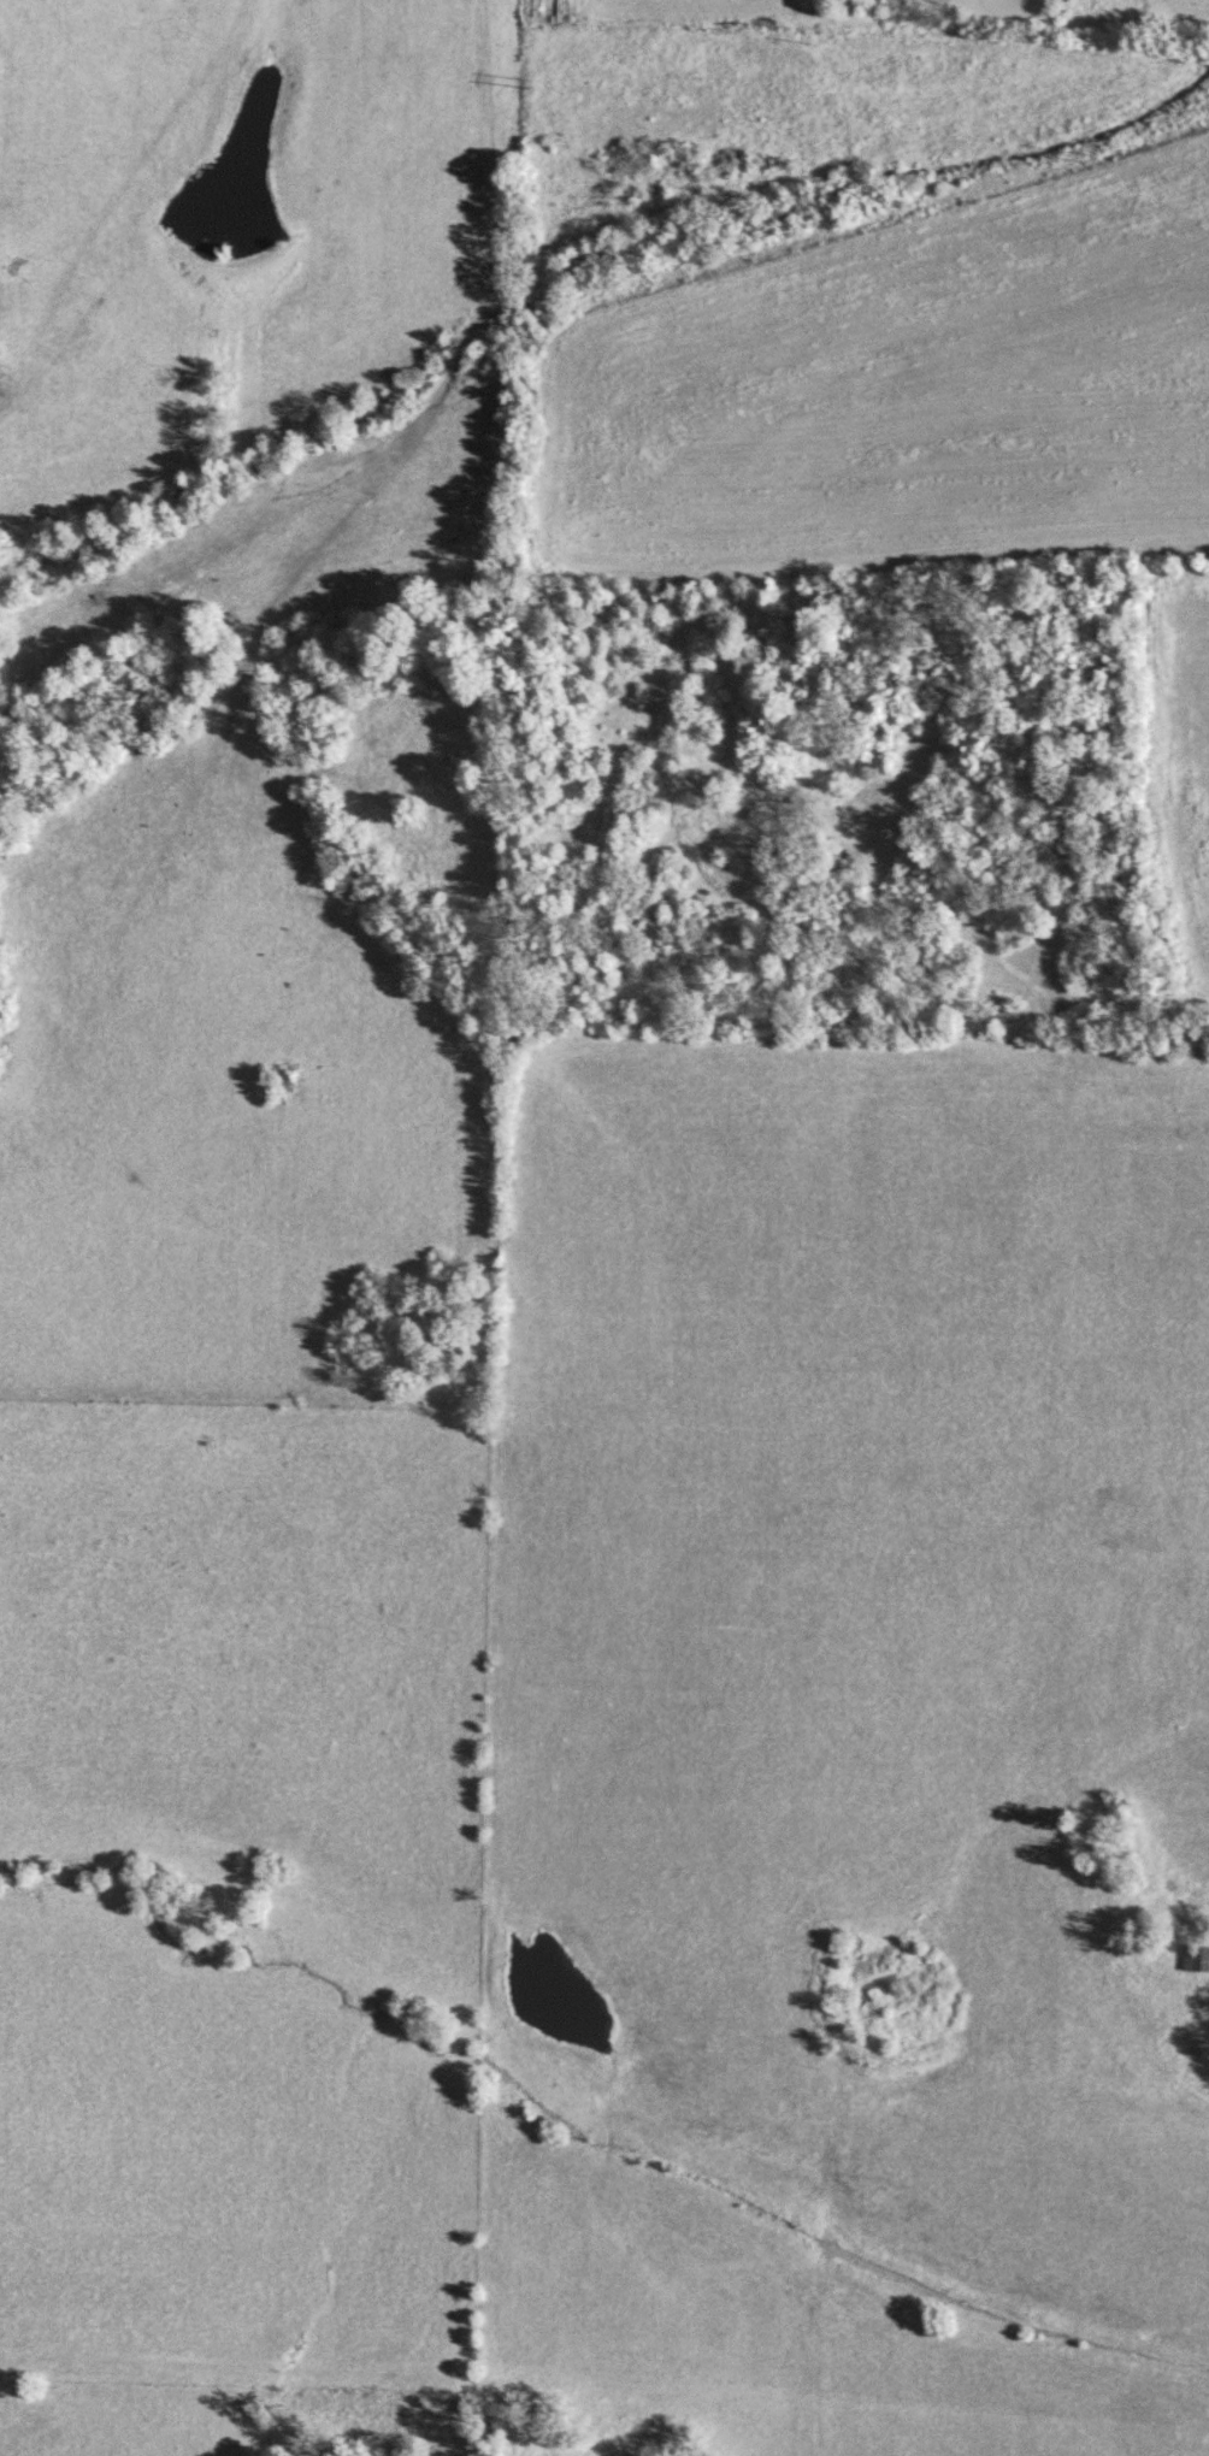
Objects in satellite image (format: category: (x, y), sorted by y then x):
building: (1195, 1958)

